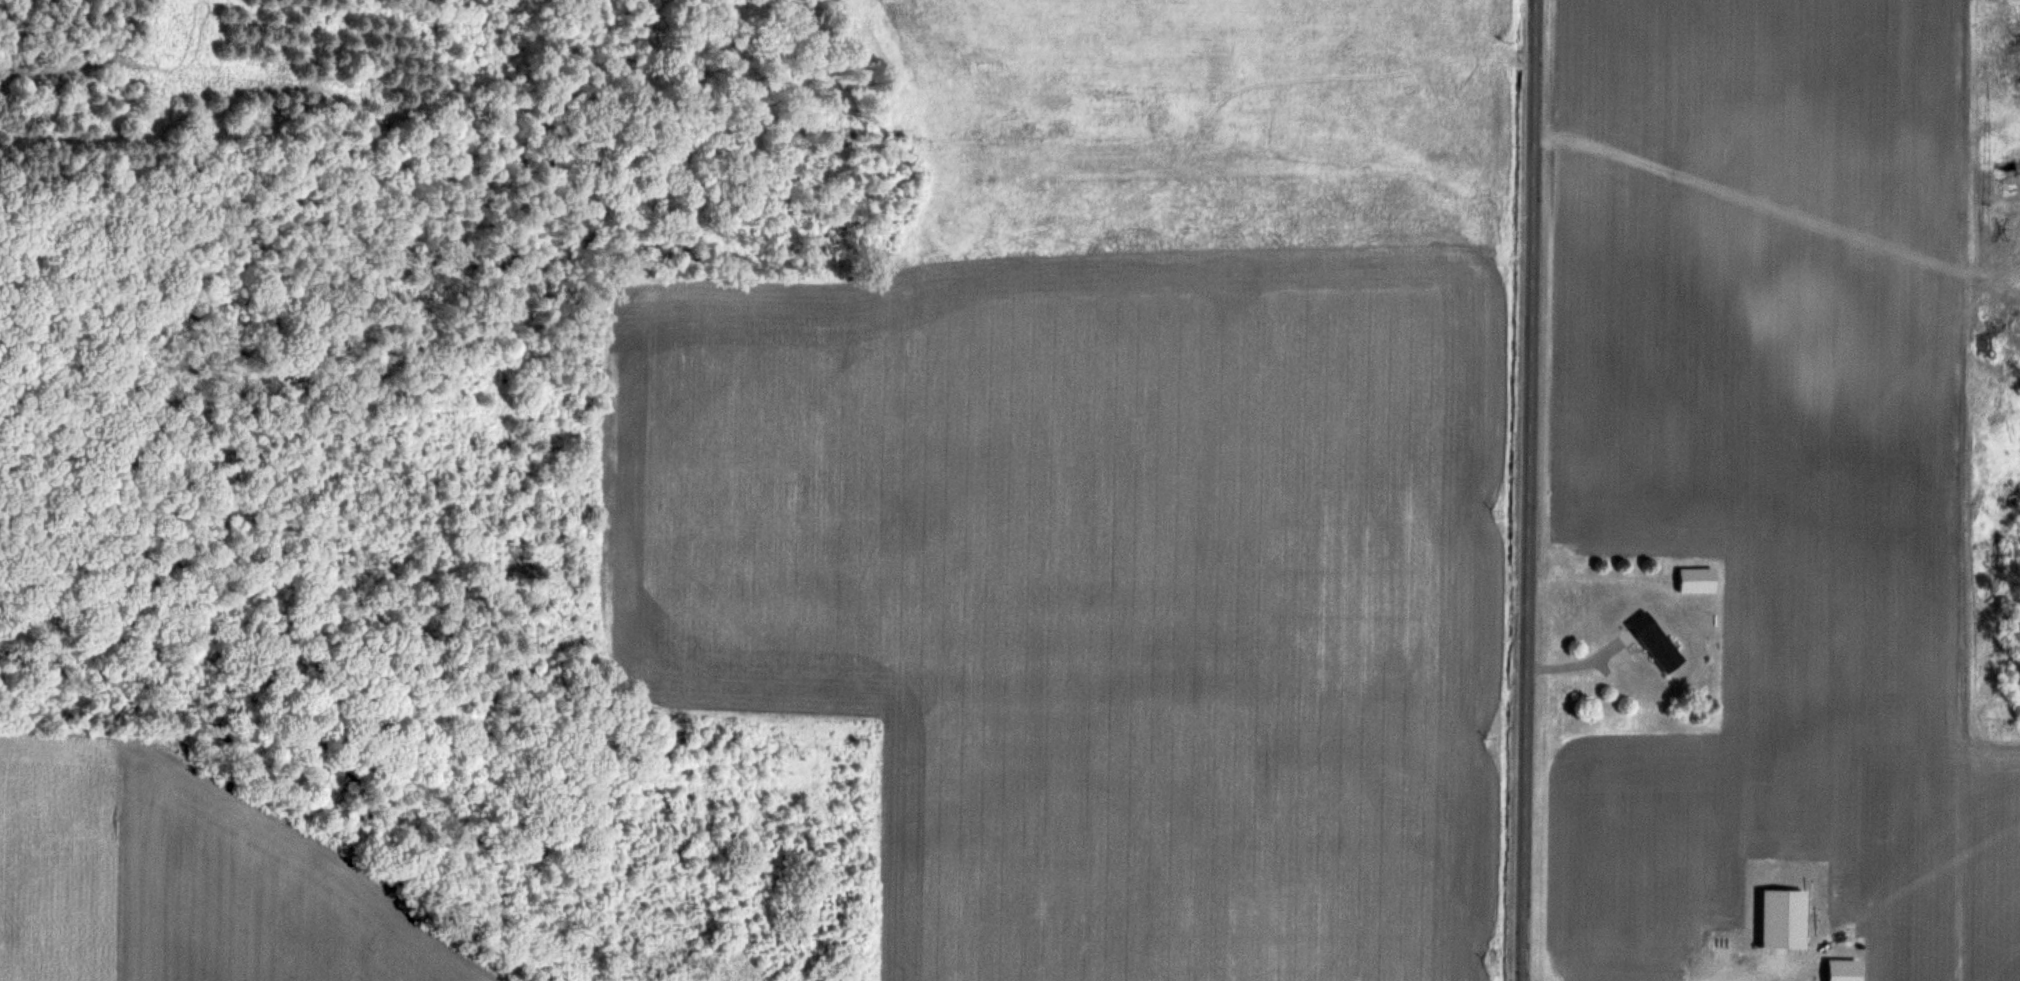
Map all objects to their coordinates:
road: (1530, 490)
road: (1599, 576)
building: (1697, 580)
building: (1656, 642)
road: (1582, 662)

